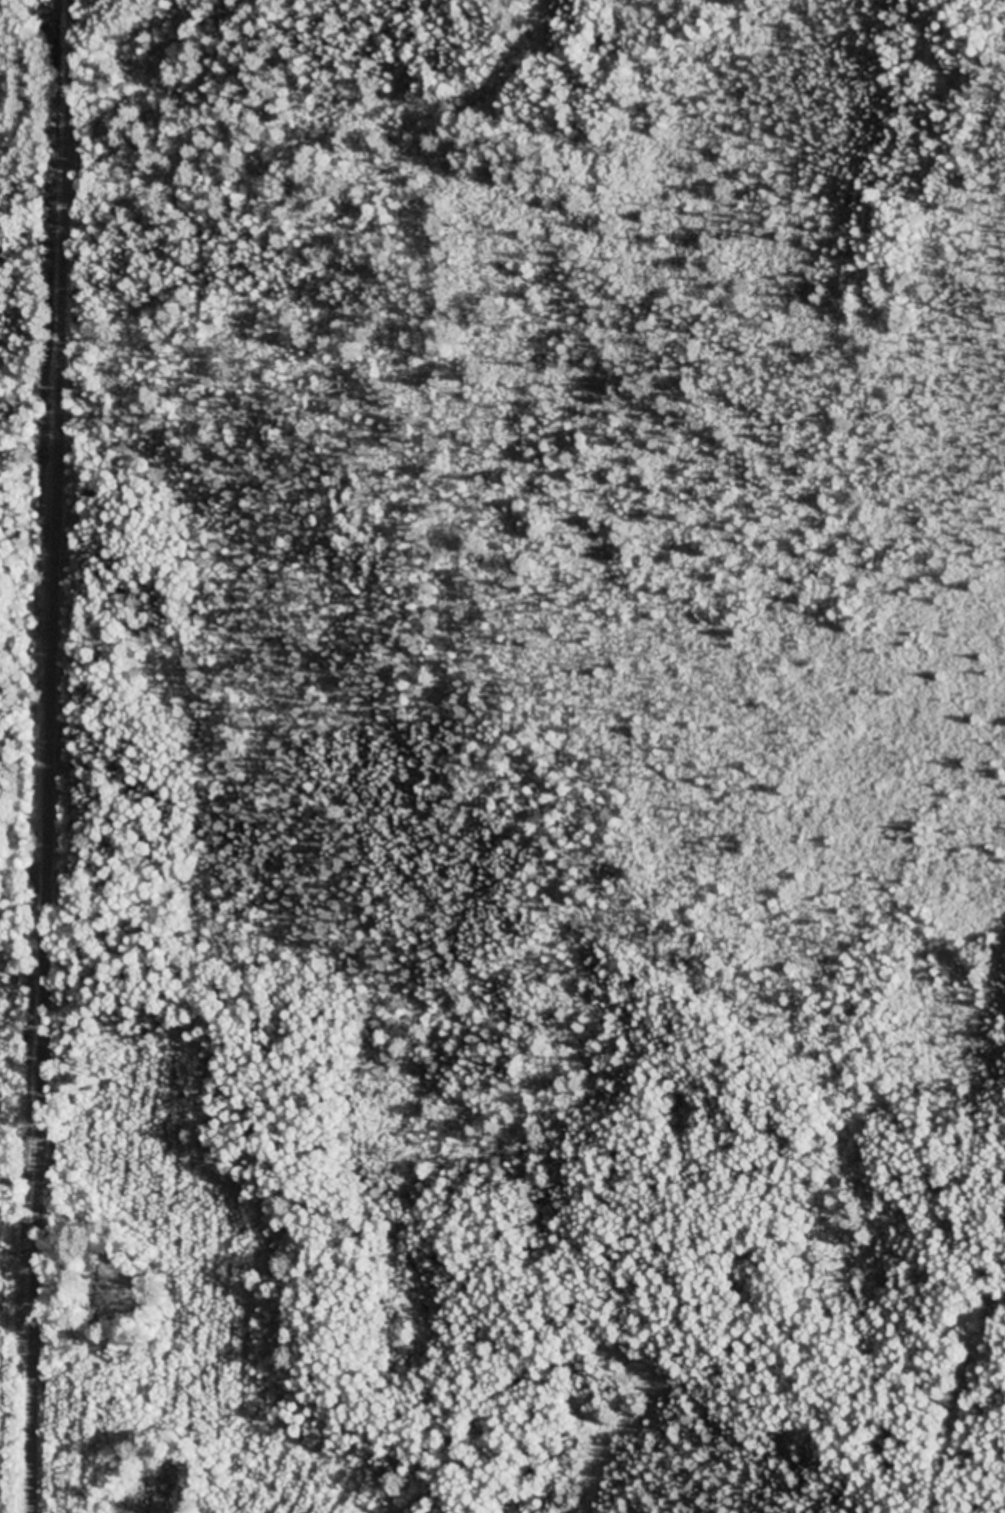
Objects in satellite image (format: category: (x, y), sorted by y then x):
road: (46, 756)
road: (964, 1413)

